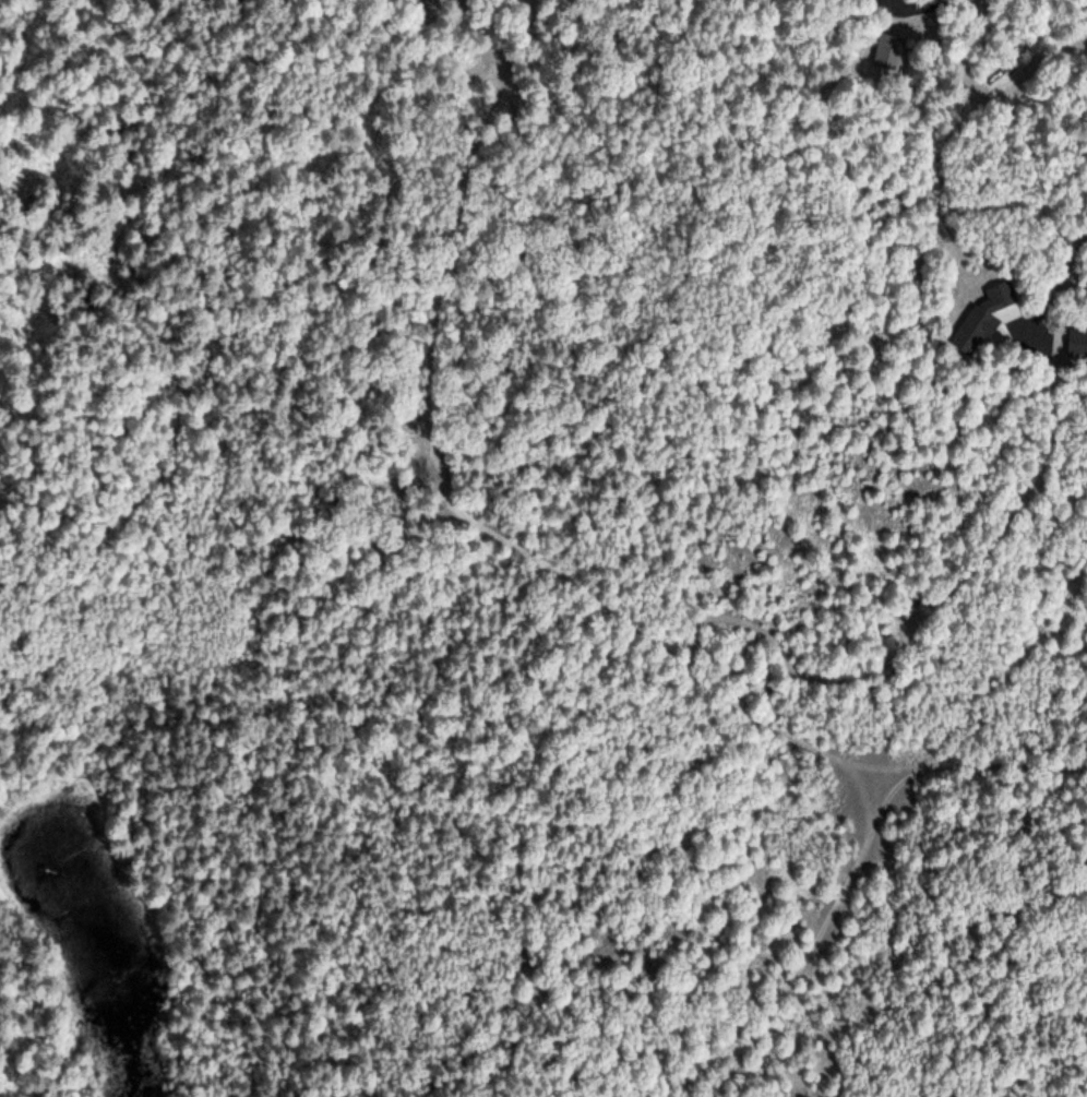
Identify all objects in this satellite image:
road: (924, 5)
building: (888, 51)
road: (1076, 275)
road: (162, 308)
building: (984, 318)
building: (1078, 343)
road: (1070, 385)
road: (449, 492)
road: (1014, 513)
road: (696, 621)
road: (519, 776)
road: (857, 859)

